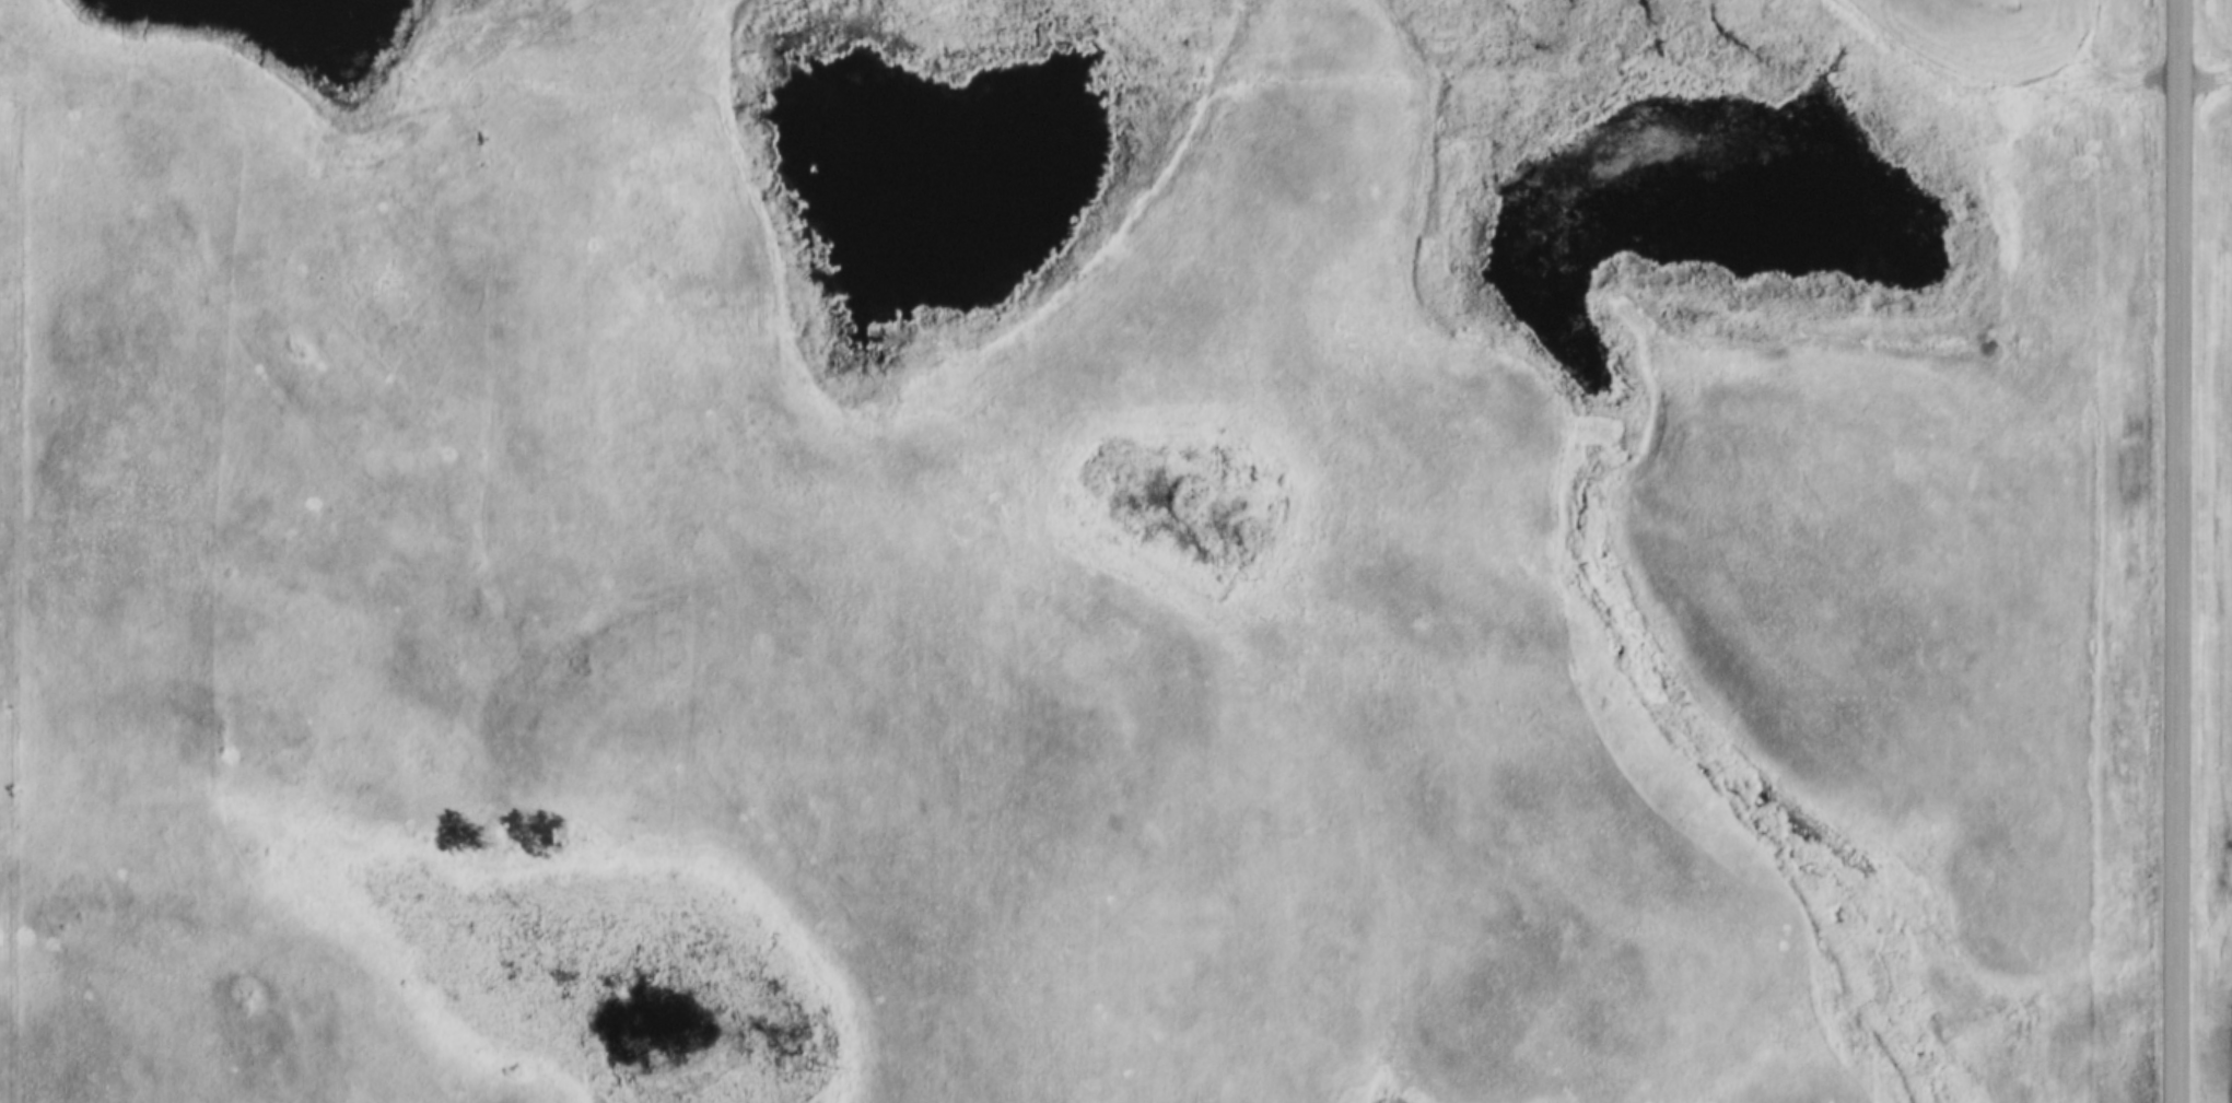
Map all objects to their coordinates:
road: (2178, 551)

